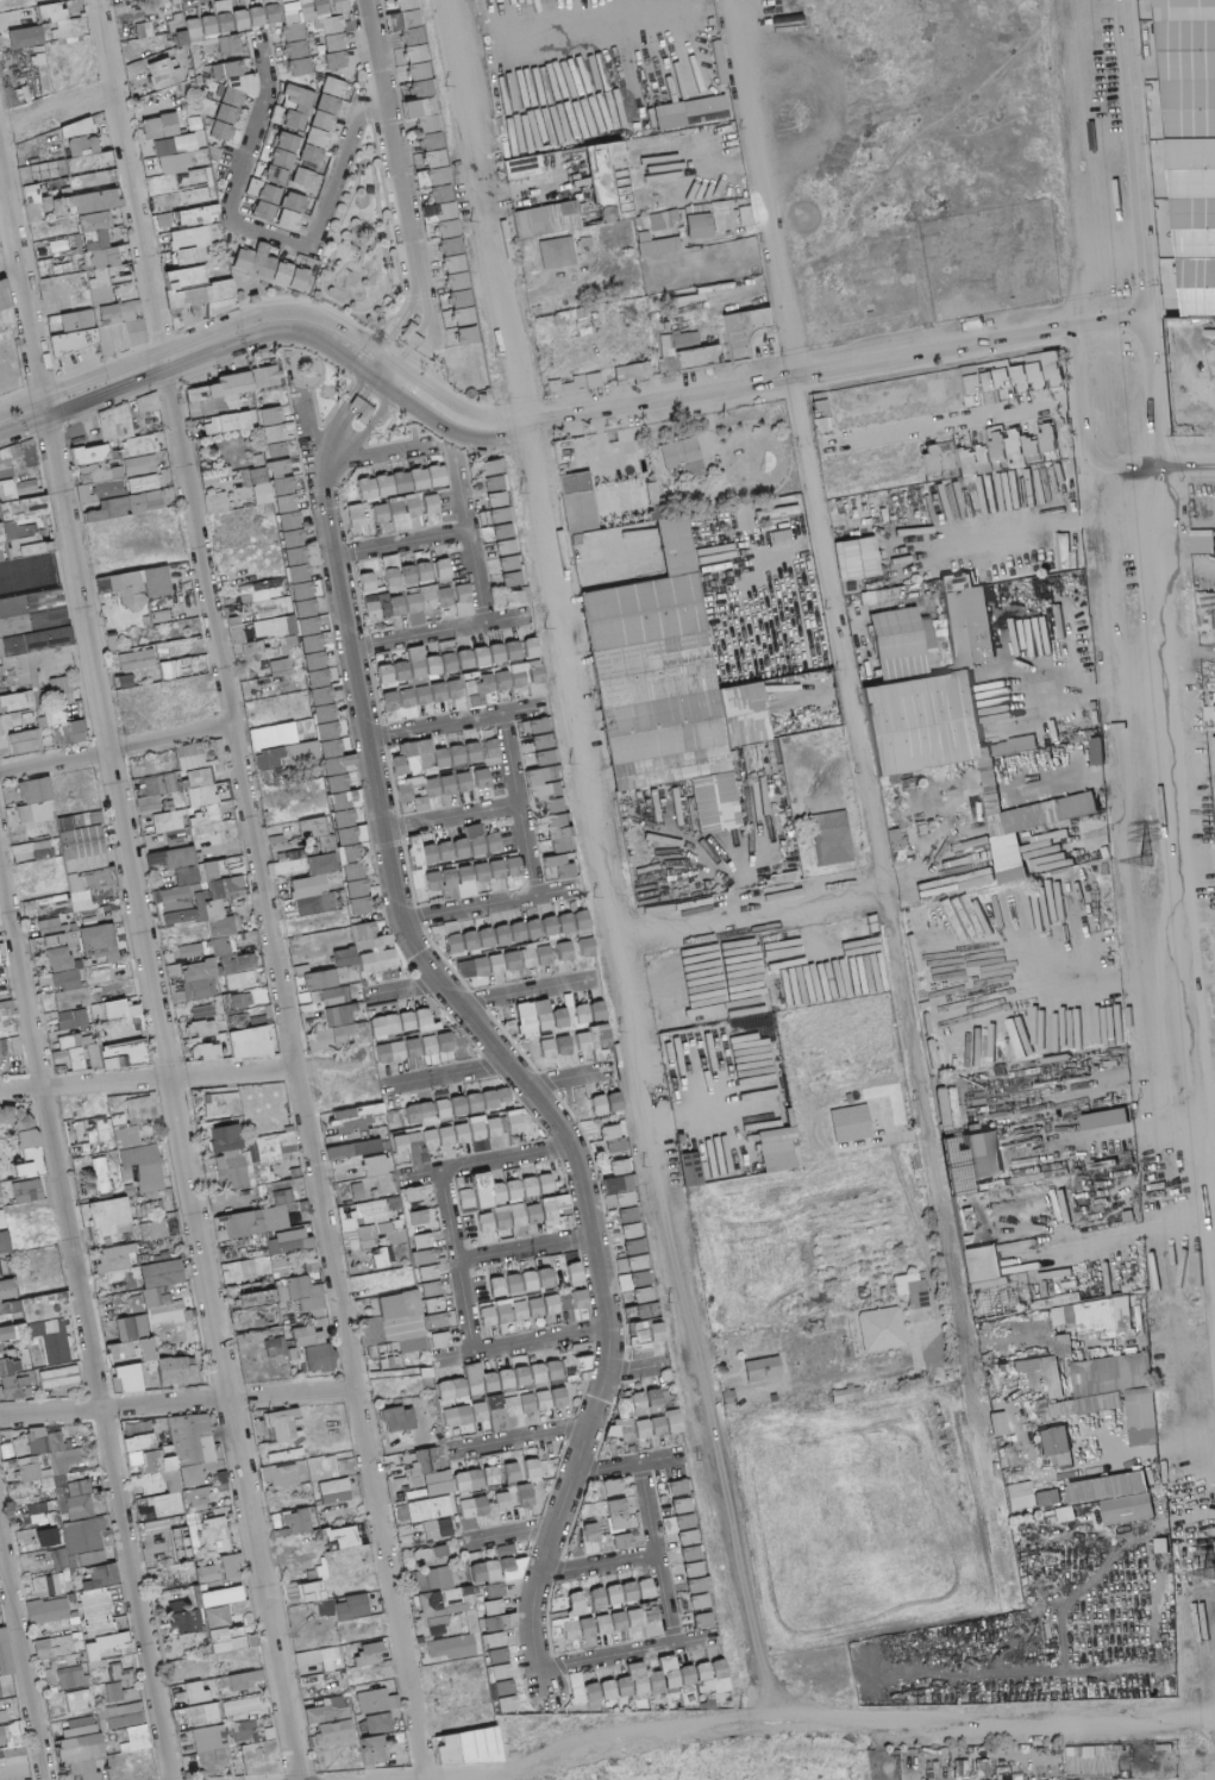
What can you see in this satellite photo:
power tower: (441, 86)
power tower: (464, 224)
park: (363, 252)
power tower: (491, 353)
power tower: (515, 489)
power tower: (541, 626)
power tower: (565, 760)
power tower: (1160, 859)
power tower: (591, 892)
power tower: (615, 1027)
power tower: (637, 1160)
power tower: (665, 1300)
power tower: (694, 1456)
power tower: (720, 1582)
power tower: (738, 1706)

